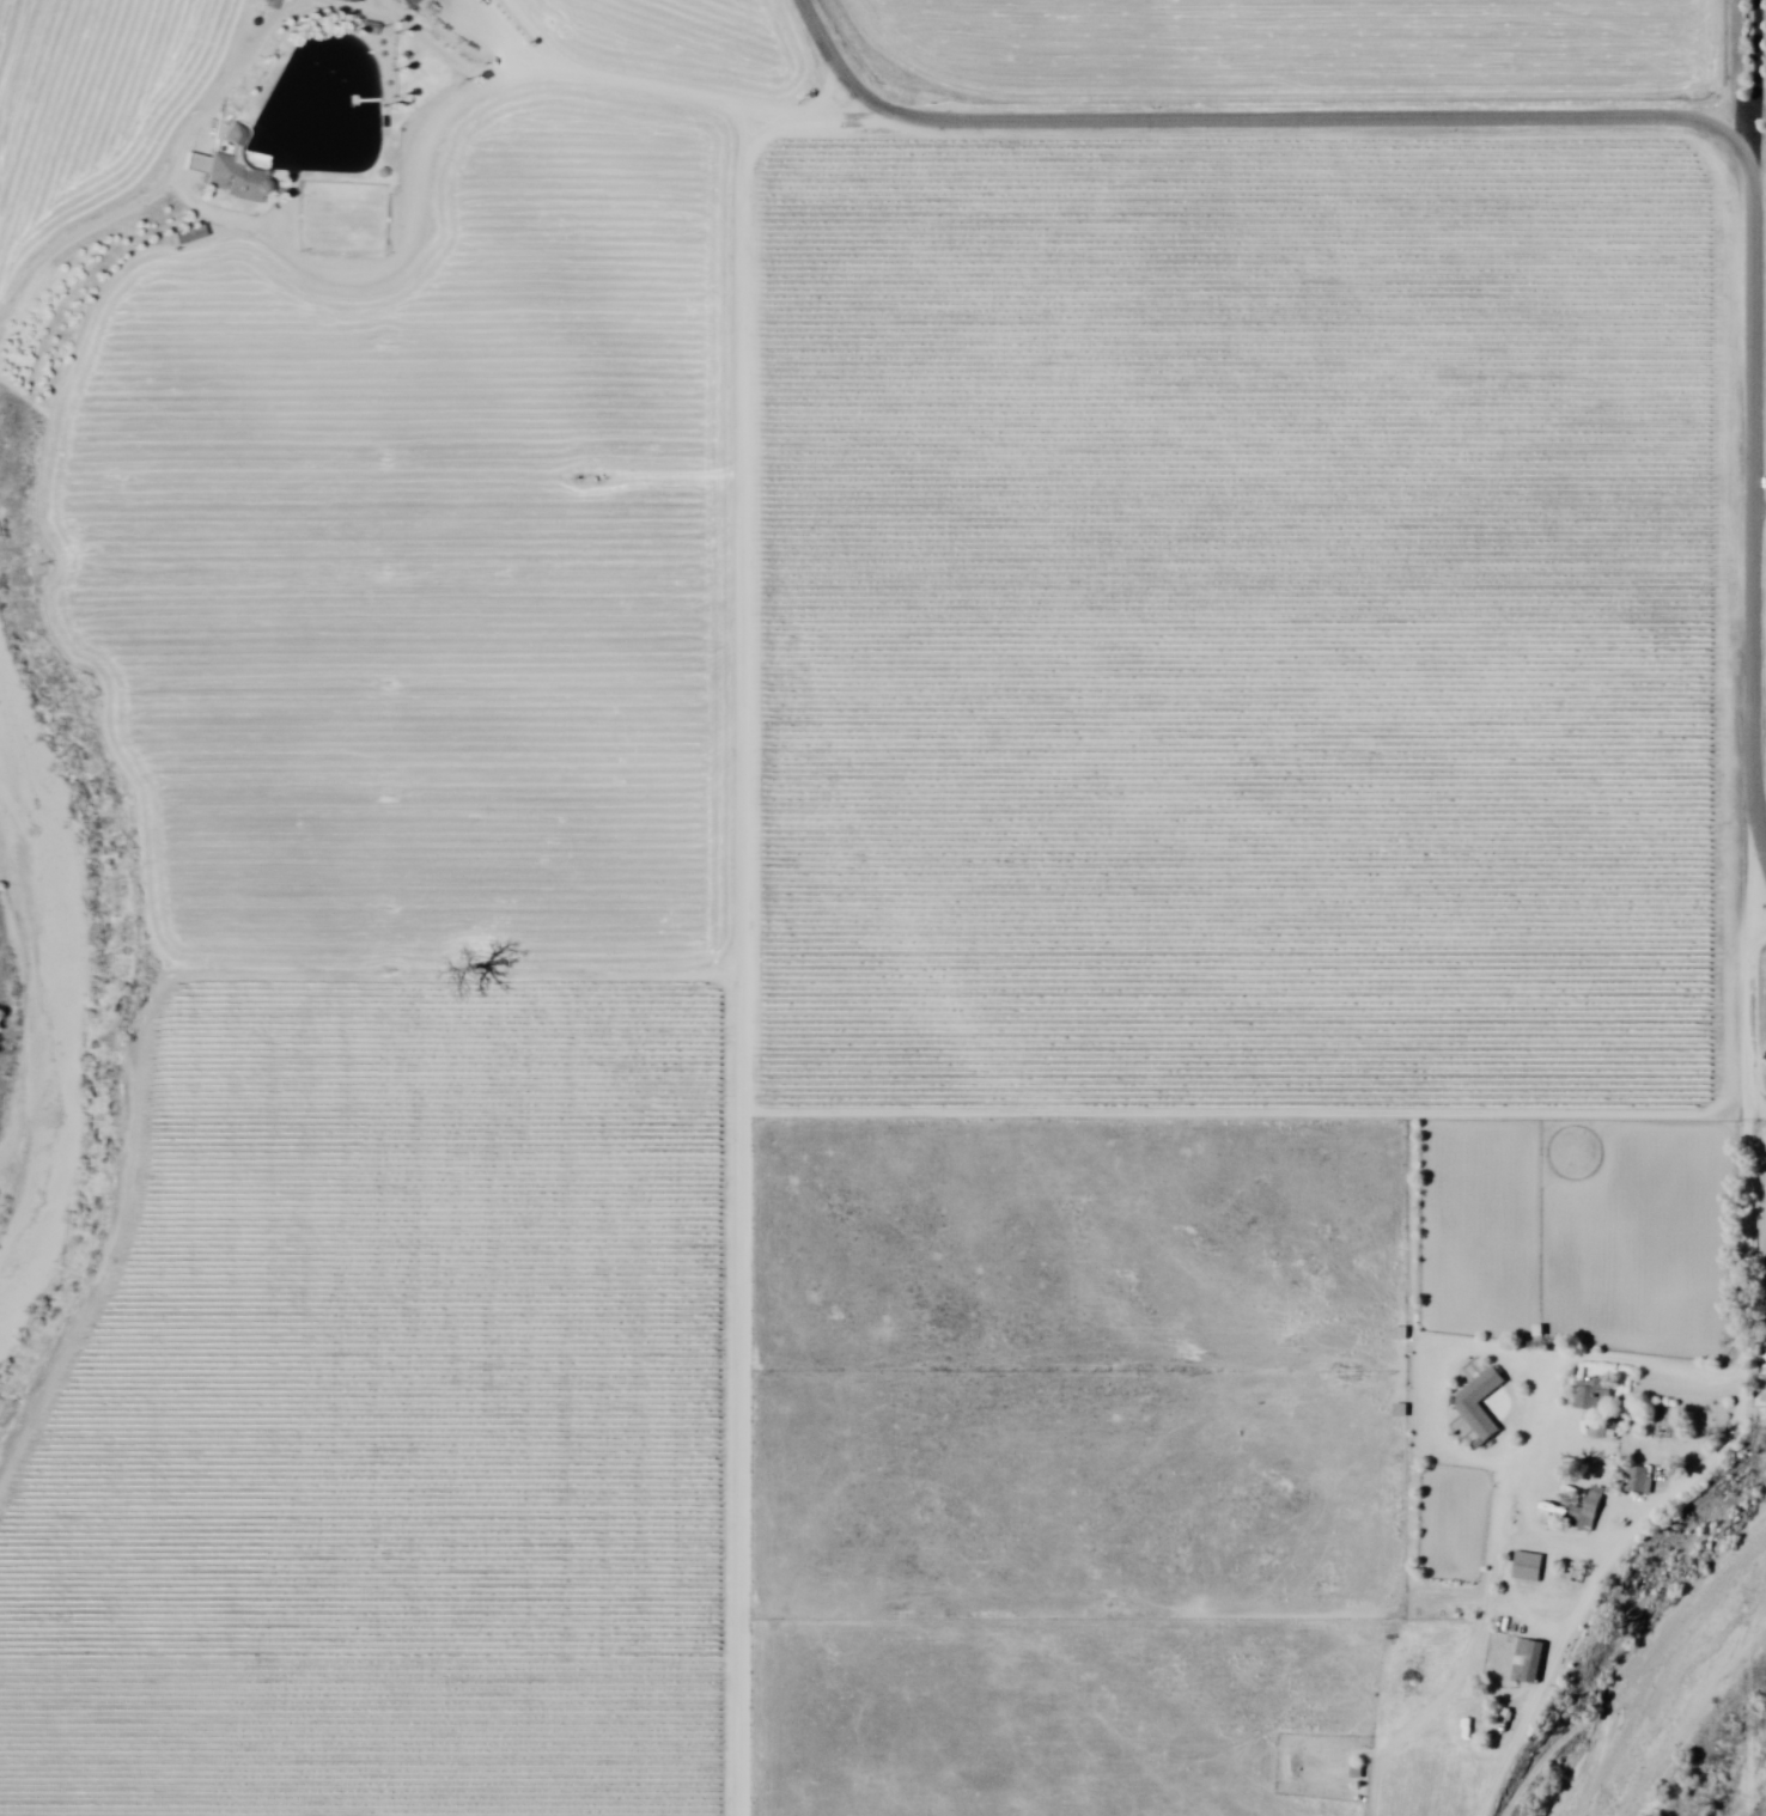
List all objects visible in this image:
building: (351, 0)
building: (413, 2)
crop: (681, 38)
road: (1735, 68)
road: (1759, 81)
road: (669, 90)
crop: (98, 111)
road: (1607, 118)
building: (232, 169)
crop: (427, 563)
crop: (1253, 632)
road: (738, 965)
river: (34, 1018)
building: (1601, 1394)
building: (1472, 1406)
crop: (390, 1416)
building: (1640, 1480)
building: (1590, 1512)
building: (1533, 1566)
building: (1533, 1660)
river: (1694, 1713)

